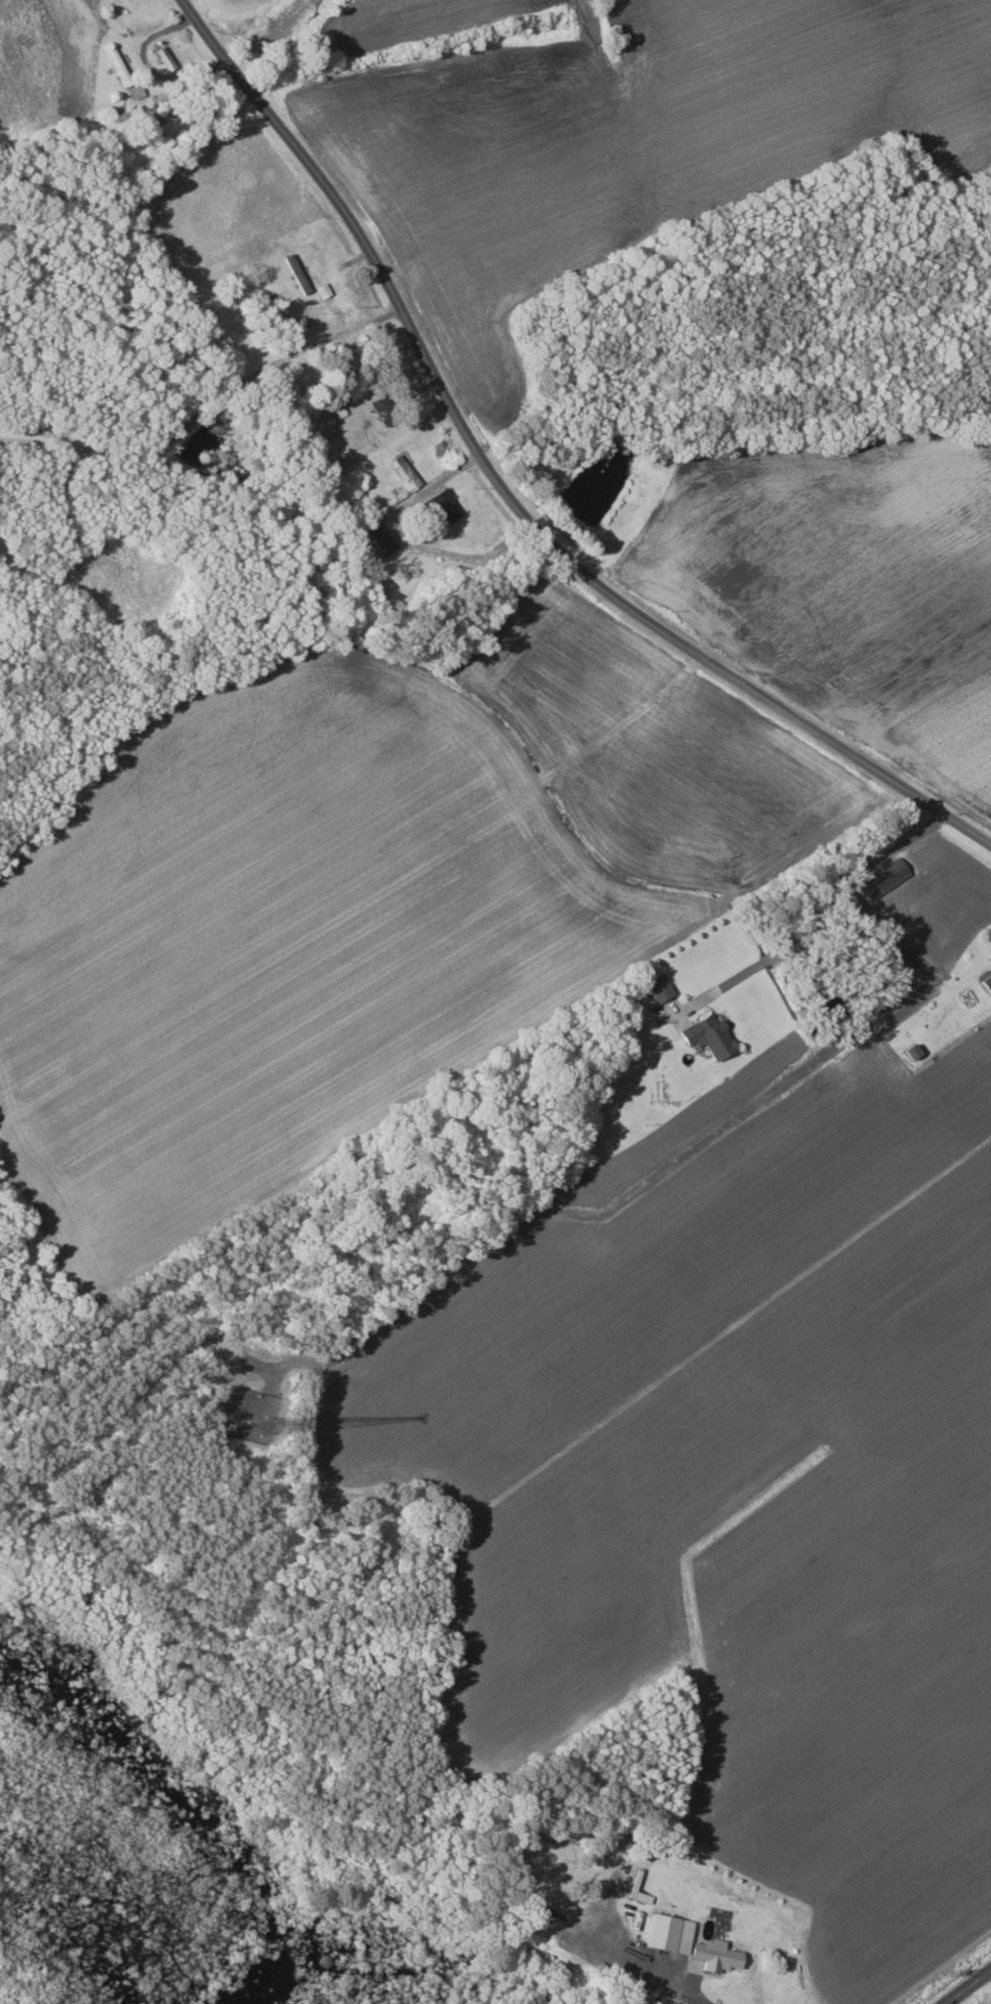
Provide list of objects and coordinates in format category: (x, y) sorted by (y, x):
building: (300, 274)
building: (325, 291)
building: (388, 410)
road: (507, 497)
building: (446, 507)
road: (411, 541)
road: (762, 954)
building: (656, 986)
building: (705, 1036)
building: (908, 1052)
road: (694, 1142)
building: (672, 1932)
building: (721, 1955)
road: (635, 1971)
road: (969, 1988)

